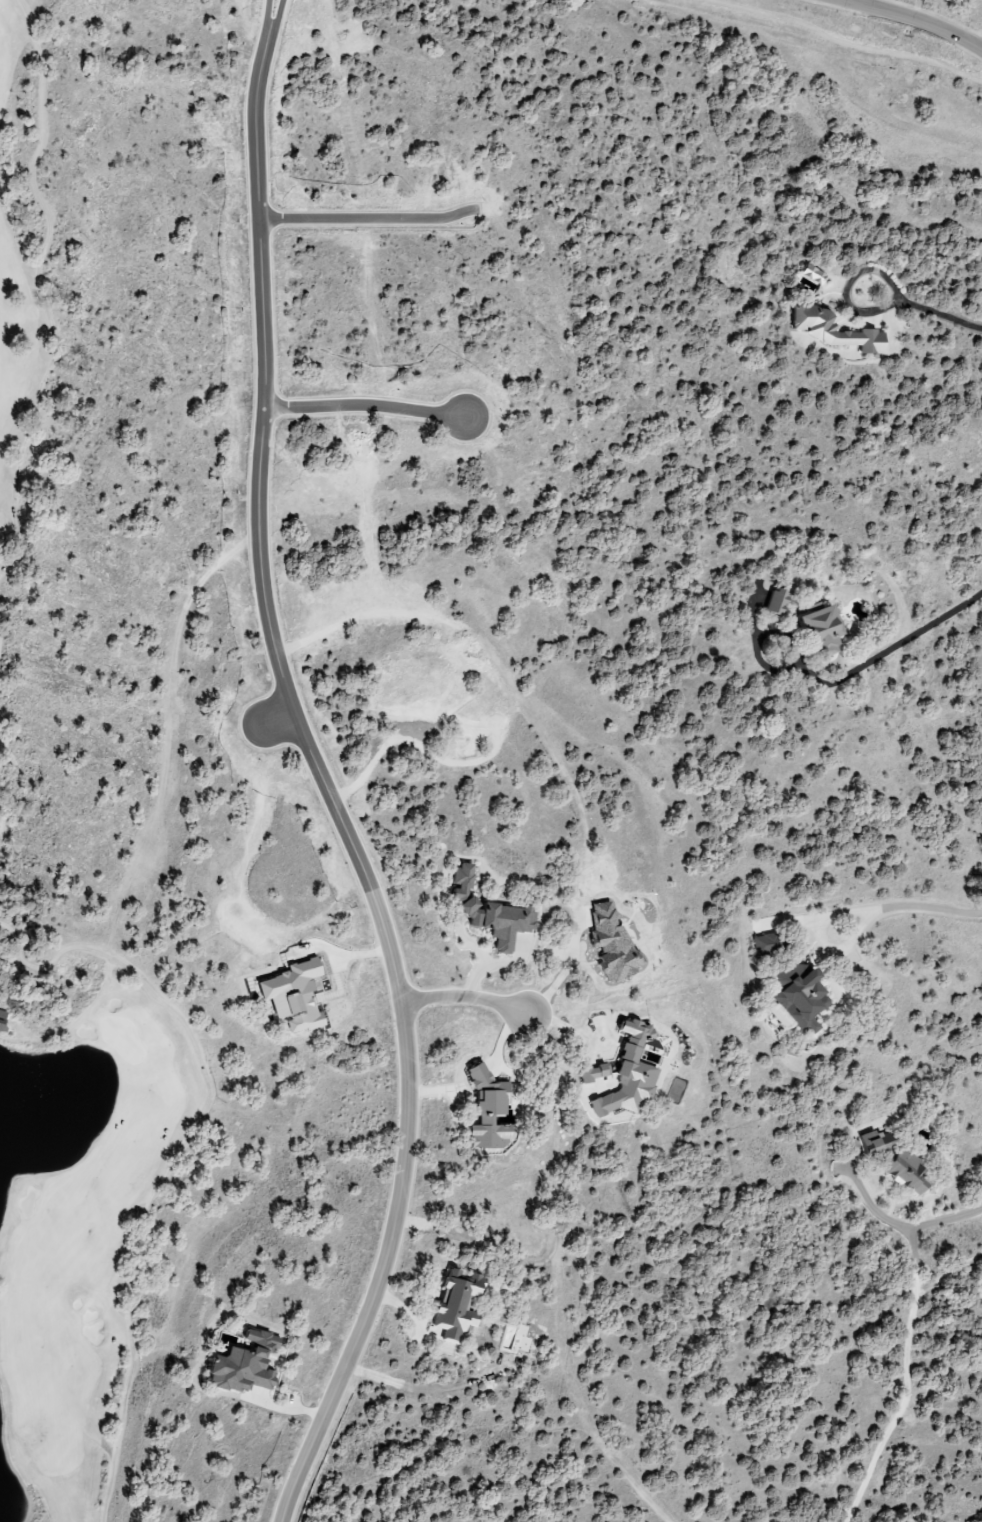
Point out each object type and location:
road: (913, 21)
road: (835, 42)
building: (811, 274)
road: (847, 286)
road: (942, 314)
building: (828, 329)
building: (772, 601)
building: (816, 631)
road: (894, 644)
road: (925, 902)
building: (486, 912)
road: (826, 934)
building: (608, 943)
building: (763, 943)
building: (796, 994)
building: (289, 996)
road: (468, 997)
building: (4, 1020)
building: (590, 1073)
building: (625, 1073)
road: (413, 1105)
building: (485, 1110)
building: (871, 1142)
building: (903, 1171)
road: (919, 1220)
building: (454, 1302)
building: (241, 1364)

